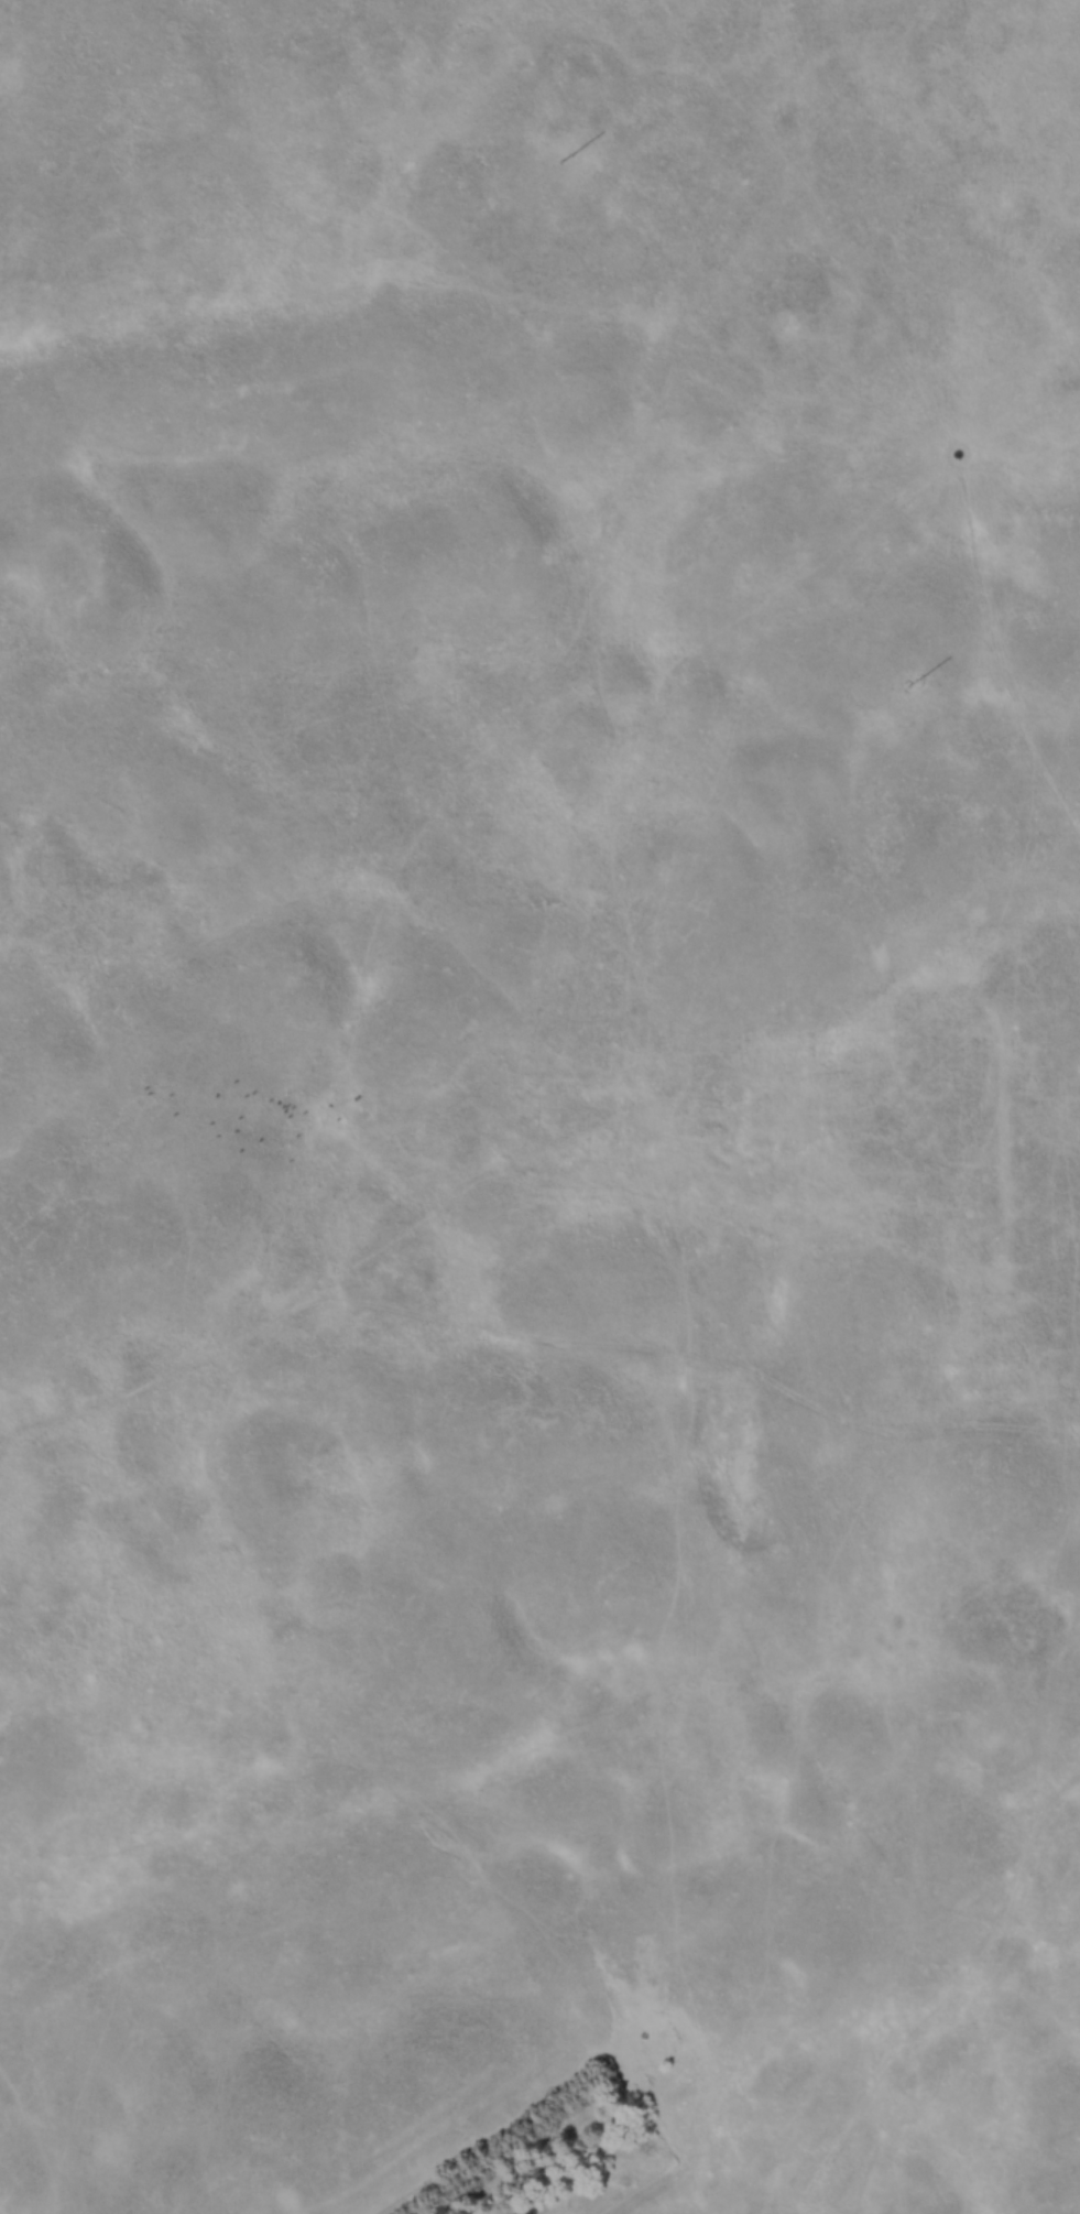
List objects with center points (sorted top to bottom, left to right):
power tower: (572, 156)
power tower: (919, 681)

